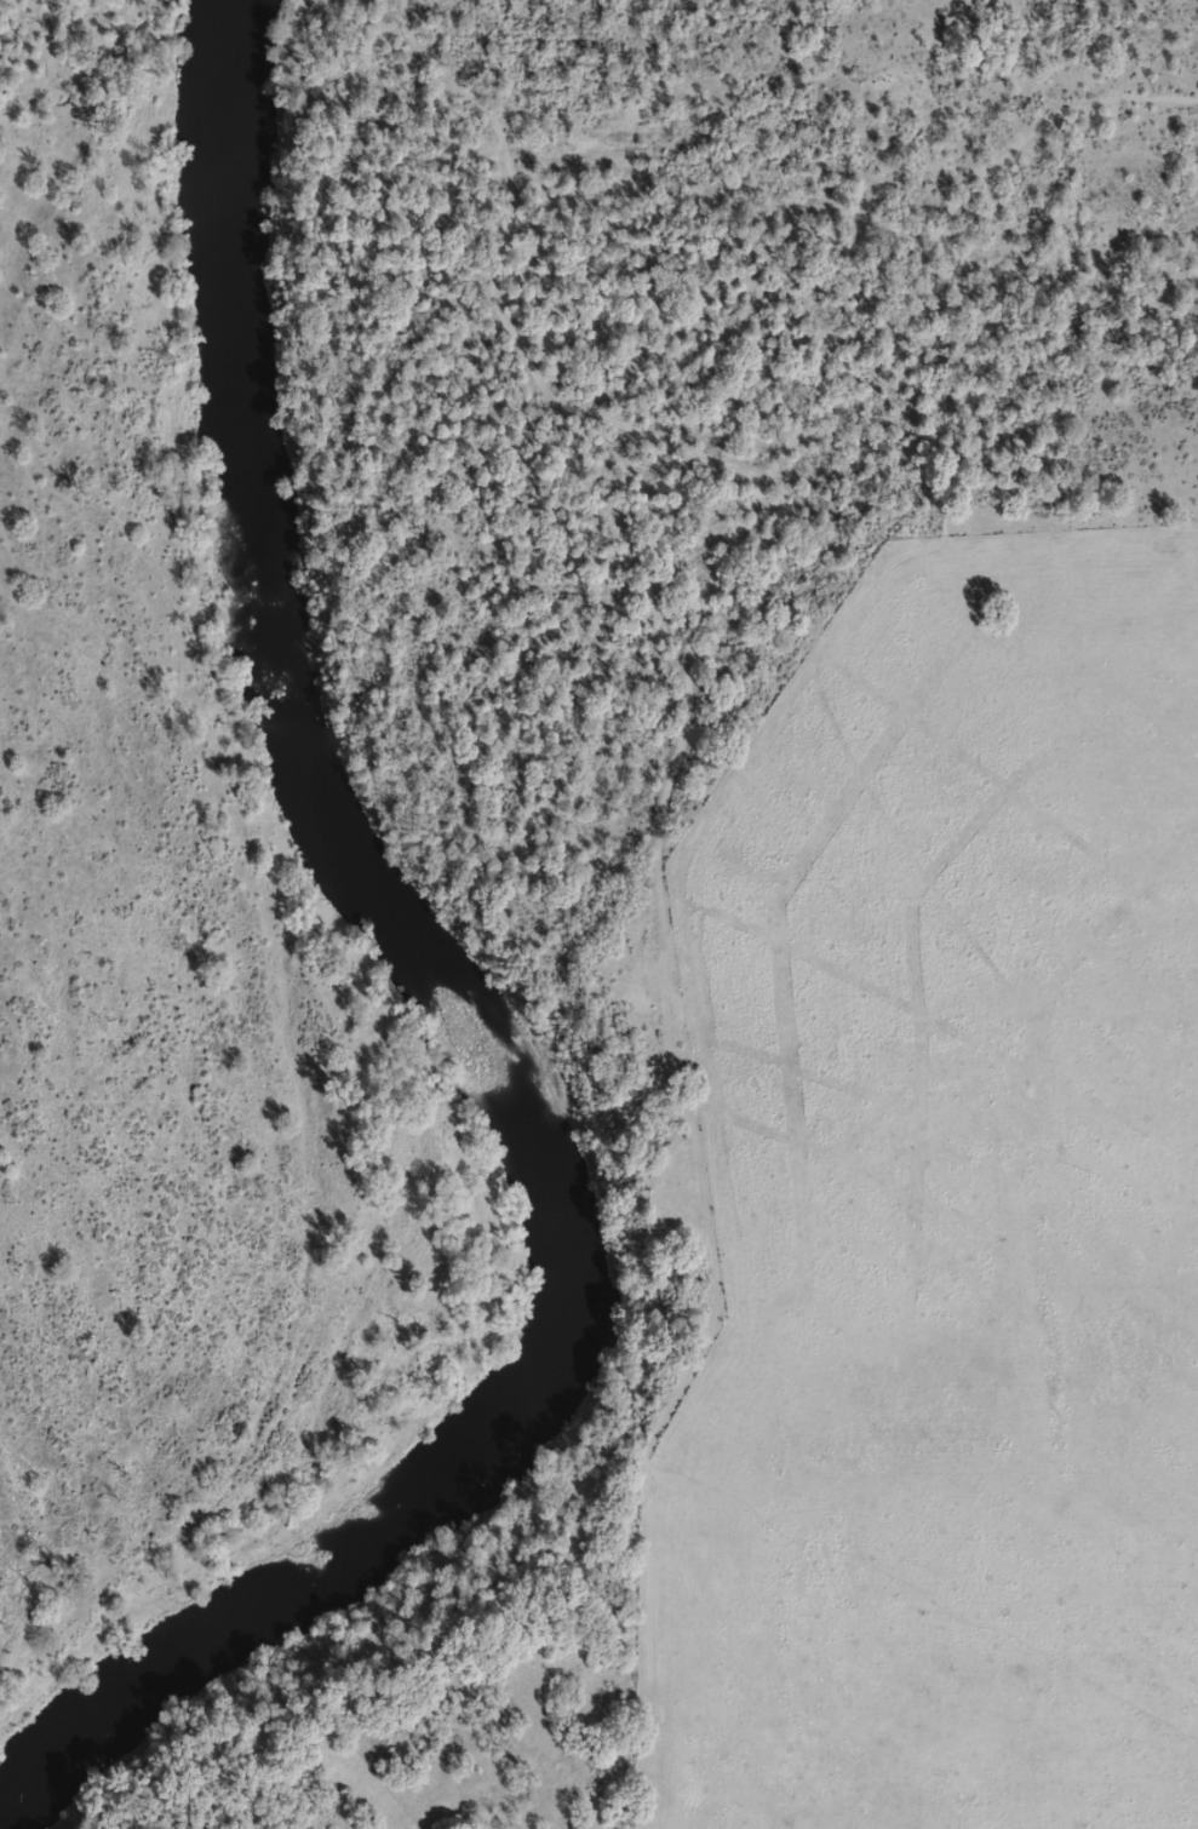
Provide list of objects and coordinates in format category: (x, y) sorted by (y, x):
river: (475, 1020)

